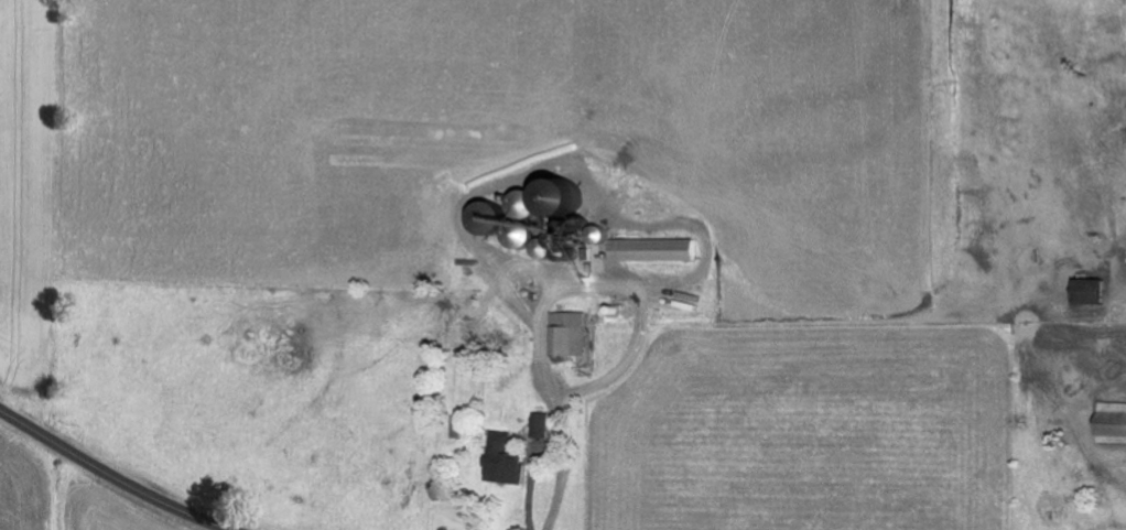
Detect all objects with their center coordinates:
building: (650, 250)
building: (1086, 292)
building: (565, 335)
building: (1111, 423)
building: (539, 425)
building: (501, 461)
road: (113, 474)

